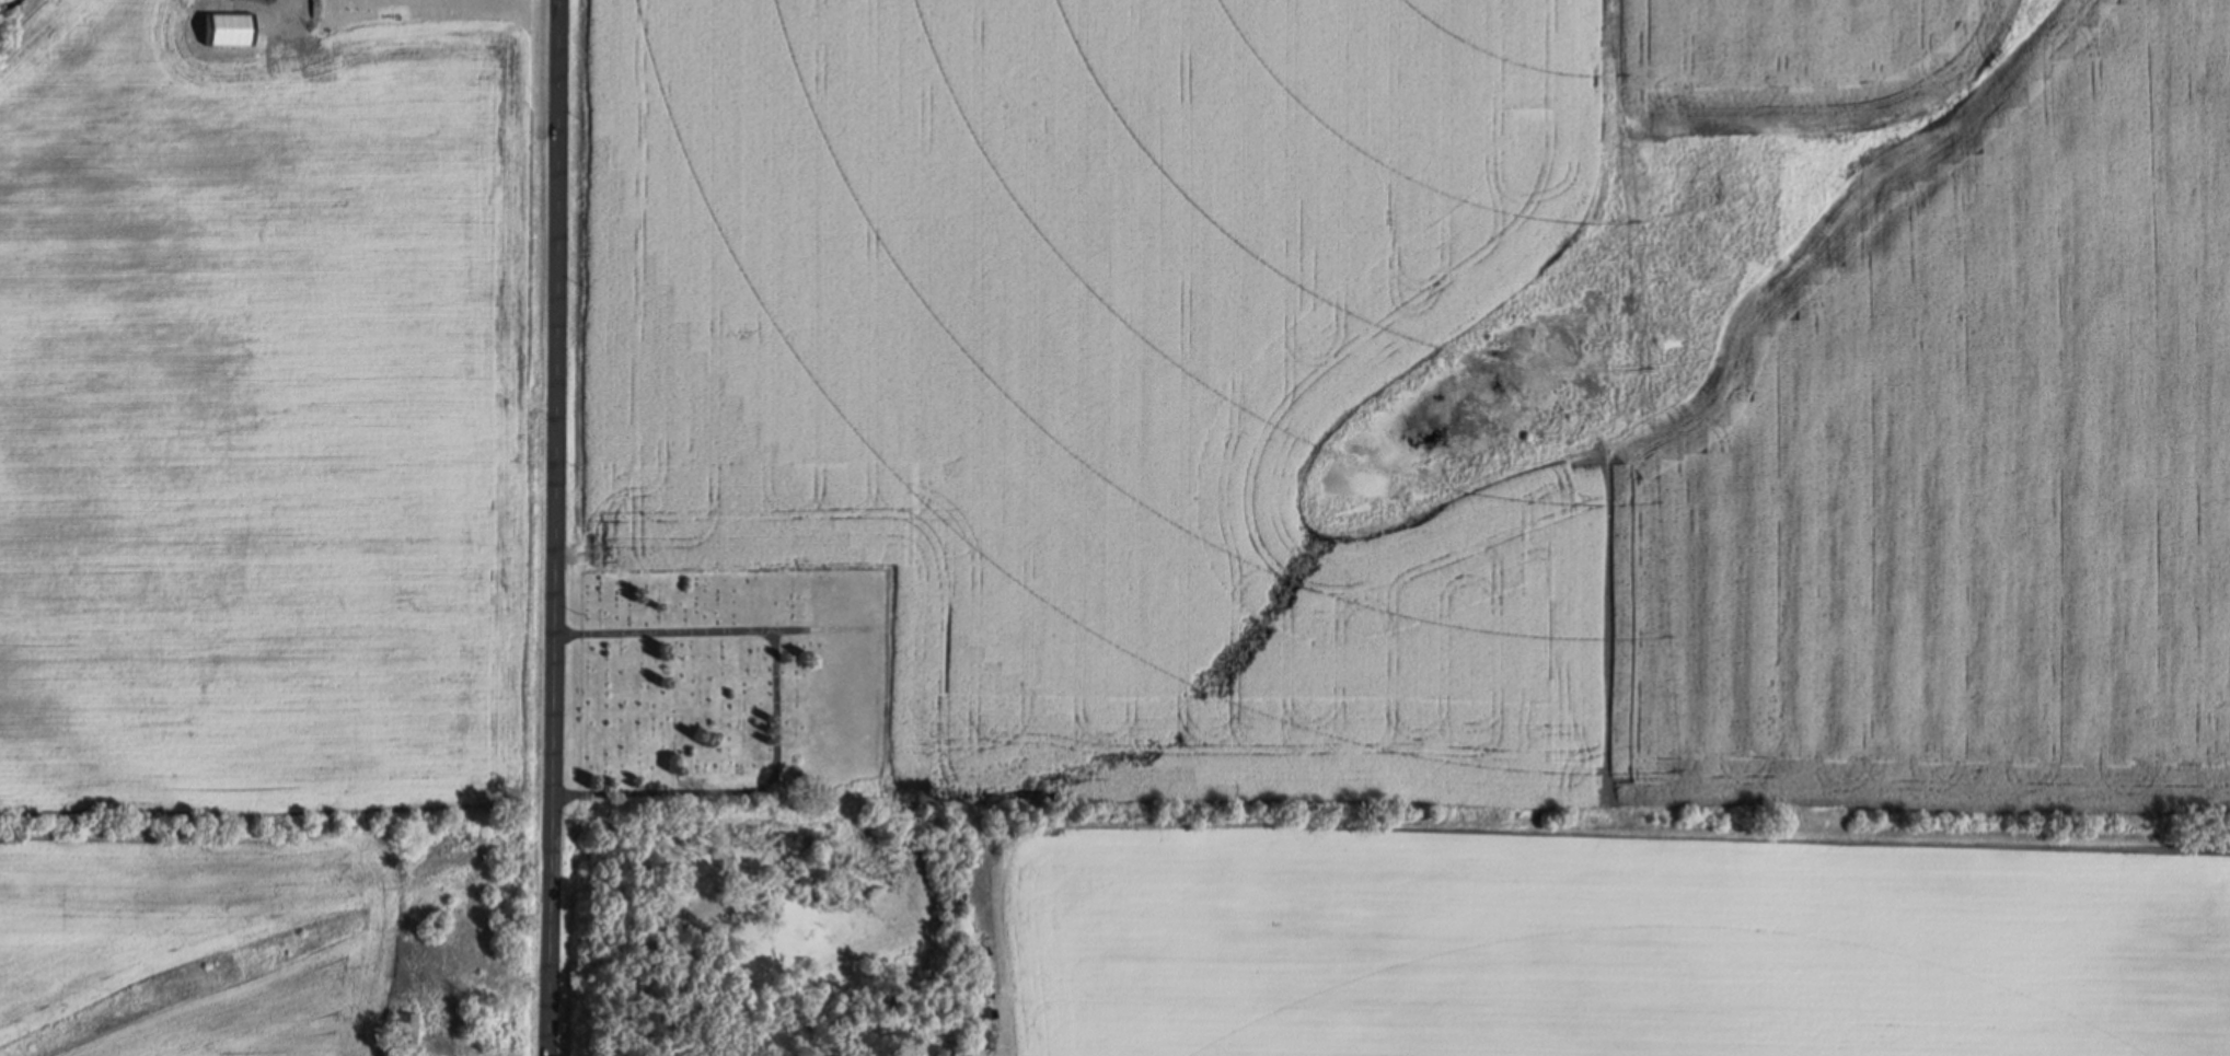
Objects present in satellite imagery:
road: (557, 527)
road: (683, 630)
road: (742, 788)
building: (405, 1033)
building: (928, 1052)

